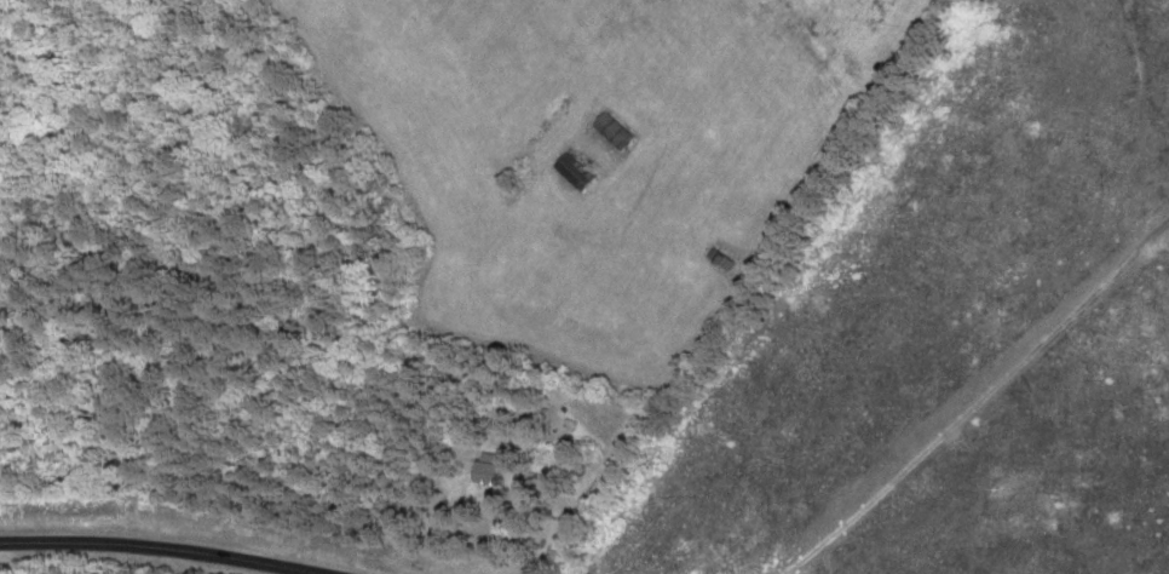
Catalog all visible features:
building: (615, 128)
building: (576, 170)
building: (493, 466)
road: (154, 549)

